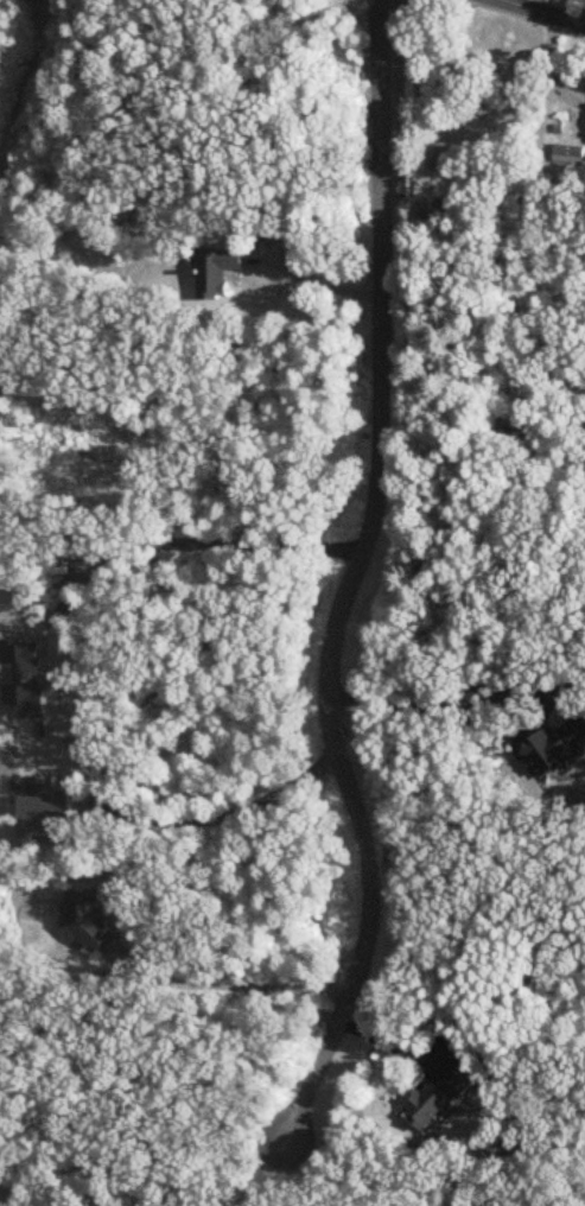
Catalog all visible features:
road: (542, 12)
building: (567, 158)
building: (216, 272)
road: (322, 285)
road: (139, 545)
road: (348, 582)
road: (428, 690)
road: (186, 802)
building: (87, 922)
road: (237, 980)
building: (435, 1094)

